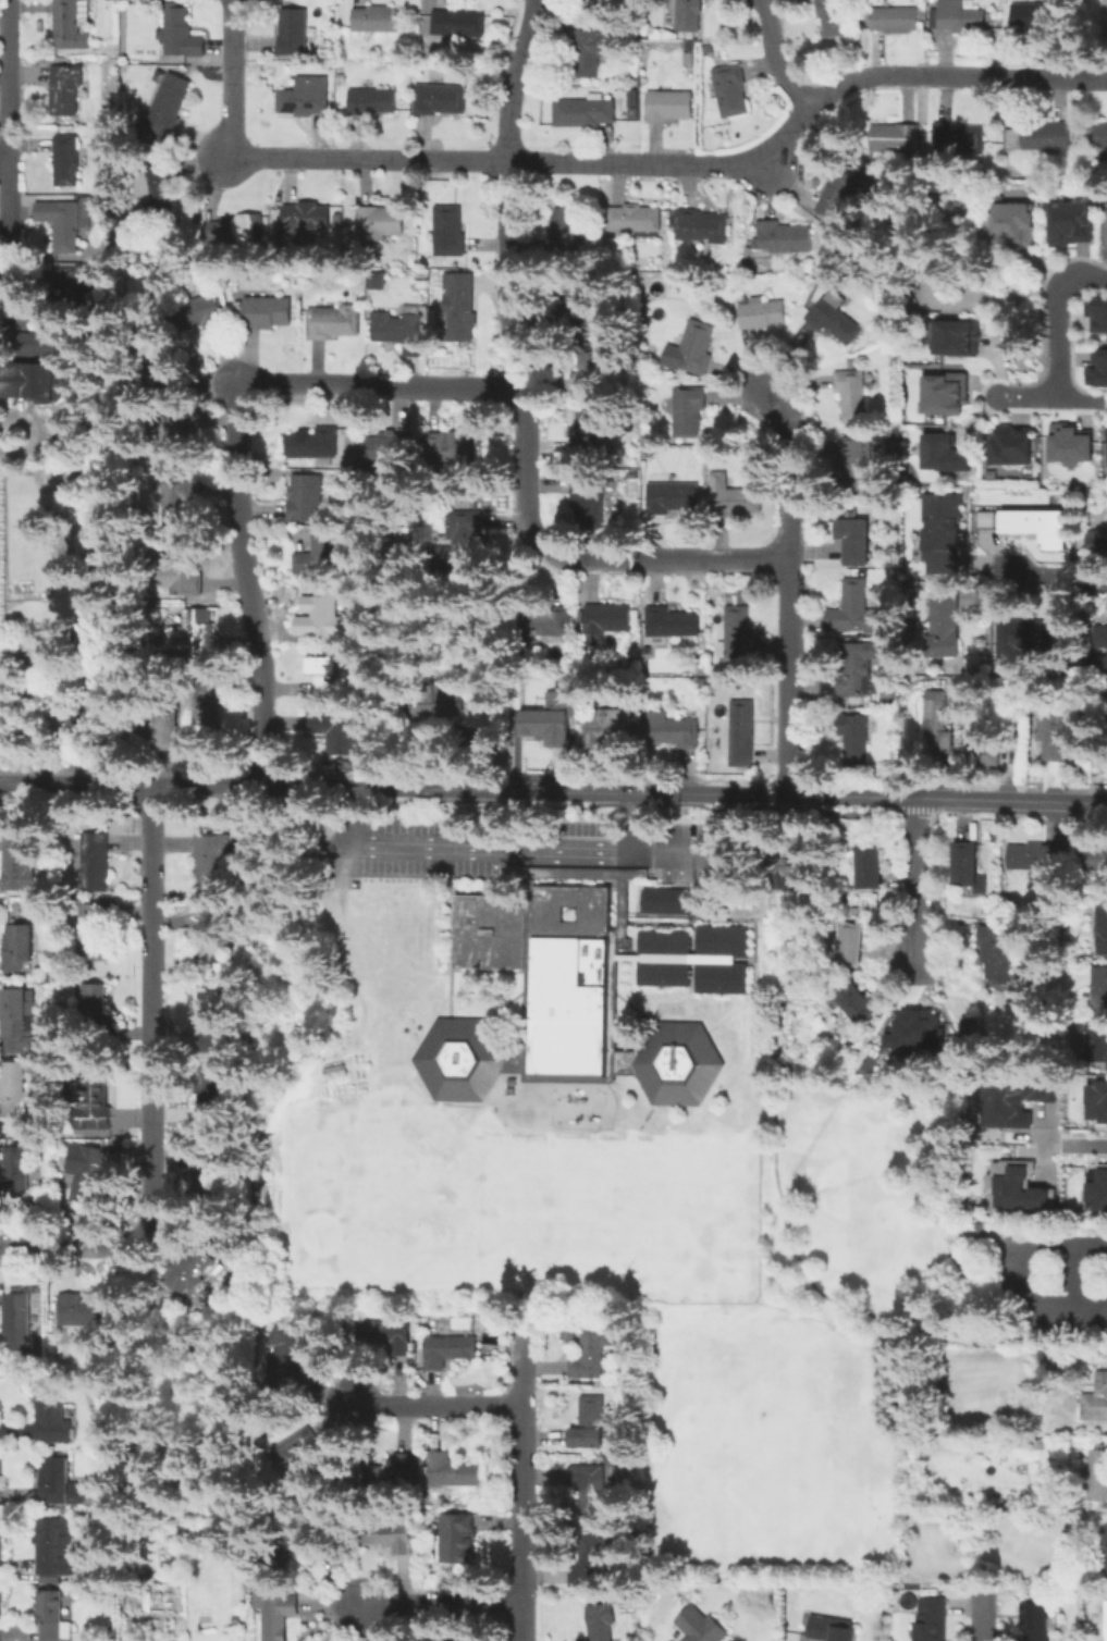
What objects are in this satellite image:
building: (602, 1)
building: (688, 15)
building: (836, 17)
building: (958, 17)
building: (1034, 18)
building: (1105, 20)
building: (378, 21)
building: (896, 22)
building: (70, 25)
building: (459, 25)
building: (295, 35)
building: (179, 39)
building: (592, 55)
road: (777, 58)
building: (690, 59)
building: (67, 92)
building: (733, 92)
building: (306, 98)
building: (441, 99)
building: (371, 101)
building: (671, 103)
building: (170, 108)
building: (590, 113)
road: (801, 113)
building: (1100, 134)
building: (1047, 138)
building: (890, 139)
building: (959, 141)
road: (5, 144)
road: (293, 157)
building: (69, 159)
road: (3, 160)
building: (152, 189)
building: (846, 190)
building: (635, 221)
building: (304, 222)
building: (64, 223)
building: (381, 223)
building: (1069, 223)
building: (1010, 224)
building: (700, 226)
building: (1106, 230)
building: (235, 232)
building: (448, 233)
building: (565, 233)
building: (786, 240)
building: (374, 280)
building: (77, 288)
building: (577, 311)
building: (1097, 313)
building: (205, 314)
building: (267, 314)
road: (1055, 314)
building: (764, 316)
building: (459, 319)
building: (835, 320)
building: (334, 323)
building: (399, 330)
building: (955, 337)
building: (44, 341)
building: (698, 349)
building: (1098, 369)
building: (164, 377)
building: (39, 381)
building: (586, 383)
building: (944, 393)
building: (851, 394)
road: (525, 397)
road: (1047, 398)
building: (689, 411)
road: (45, 427)
building: (590, 432)
building: (172, 433)
road: (234, 444)
building: (1011, 446)
building: (1071, 446)
building: (319, 449)
building: (379, 451)
building: (448, 451)
building: (942, 453)
building: (1106, 462)
building: (858, 467)
road: (789, 470)
building: (305, 499)
building: (673, 499)
building: (177, 501)
building: (589, 503)
building: (735, 504)
building: (984, 519)
building: (1040, 527)
building: (943, 533)
building: (1095, 539)
building: (460, 541)
building: (856, 541)
building: (321, 555)
building: (184, 577)
road: (1051, 583)
building: (858, 609)
building: (327, 616)
building: (97, 618)
building: (606, 621)
building: (552, 622)
building: (946, 622)
building: (673, 625)
building: (198, 636)
building: (739, 637)
building: (1030, 641)
building: (1106, 662)
building: (858, 673)
building: (323, 675)
road: (791, 677)
building: (207, 700)
building: (436, 705)
road: (58, 712)
building: (1106, 720)
building: (938, 724)
building: (545, 725)
building: (157, 728)
building: (604, 730)
building: (332, 732)
building: (675, 735)
building: (1055, 735)
building: (743, 739)
building: (854, 739)
road: (59, 785)
road: (573, 792)
road: (1067, 802)
parking lot: (540, 847)
road: (402, 848)
road: (542, 849)
road: (677, 850)
building: (212, 859)
building: (1037, 860)
building: (1093, 862)
building: (20, 864)
building: (94, 866)
building: (790, 868)
building: (870, 868)
building: (968, 871)
road: (917, 878)
building: (1100, 931)
building: (91, 935)
building: (210, 942)
building: (20, 943)
building: (850, 946)
building: (999, 954)
building: (693, 958)
road: (451, 972)
road: (748, 974)
building: (1098, 989)
building: (95, 1001)
building: (557, 1001)
building: (854, 1002)
building: (958, 1007)
building: (214, 1023)
building: (19, 1024)
building: (972, 1026)
building: (913, 1031)
building: (1097, 1042)
building: (333, 1072)
road: (155, 1087)
building: (212, 1089)
building: (14, 1091)
building: (1095, 1100)
building: (96, 1106)
park: (631, 1113)
road: (1078, 1144)
park: (388, 1153)
building: (19, 1174)
building: (86, 1175)
building: (211, 1183)
building: (1095, 1189)
park: (595, 1204)
building: (980, 1229)
park: (382, 1233)
road: (1003, 1248)
building: (193, 1269)
road: (1028, 1274)
road: (1078, 1275)
parking lot: (1056, 1281)
road: (921, 1292)
building: (85, 1312)
road: (859, 1312)
building: (17, 1323)
building: (569, 1332)
park: (844, 1335)
building: (391, 1336)
building: (592, 1353)
building: (446, 1355)
building: (284, 1358)
building: (1047, 1362)
building: (1098, 1399)
road: (440, 1406)
building: (52, 1420)
building: (590, 1426)
building: (1041, 1444)
building: (298, 1453)
building: (396, 1471)
building: (452, 1472)
building: (1096, 1476)
building: (56, 1482)
road: (521, 1484)
building: (592, 1491)
building: (396, 1539)
building: (459, 1541)
building: (57, 1547)
building: (1102, 1550)
building: (593, 1564)
road: (440, 1603)
building: (275, 1613)
road: (983, 1613)
building: (53, 1617)
building: (932, 1621)
building: (1038, 1623)
building: (1106, 1623)
building: (602, 1624)
building: (702, 1628)
building: (833, 1631)
building: (441, 1640)

